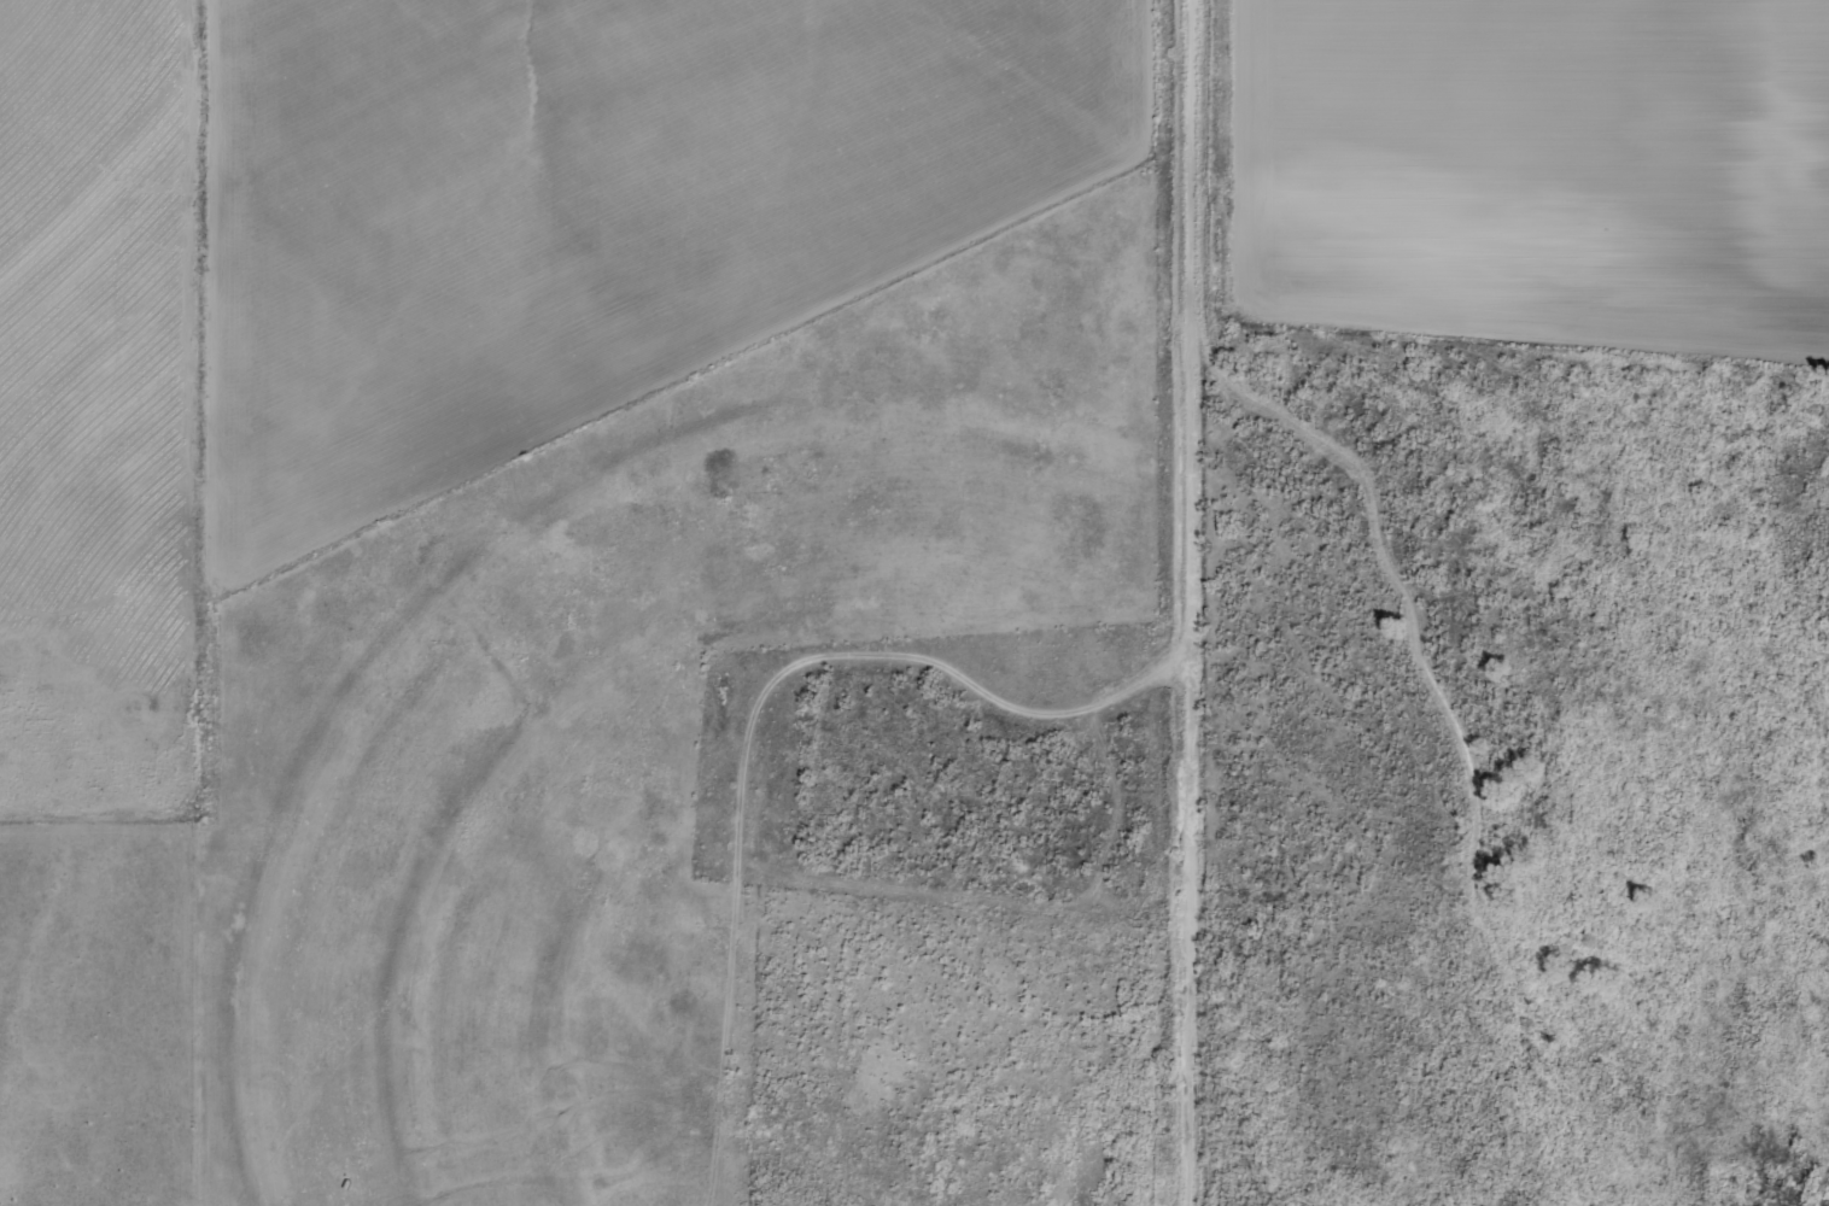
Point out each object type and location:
road: (1179, 603)

